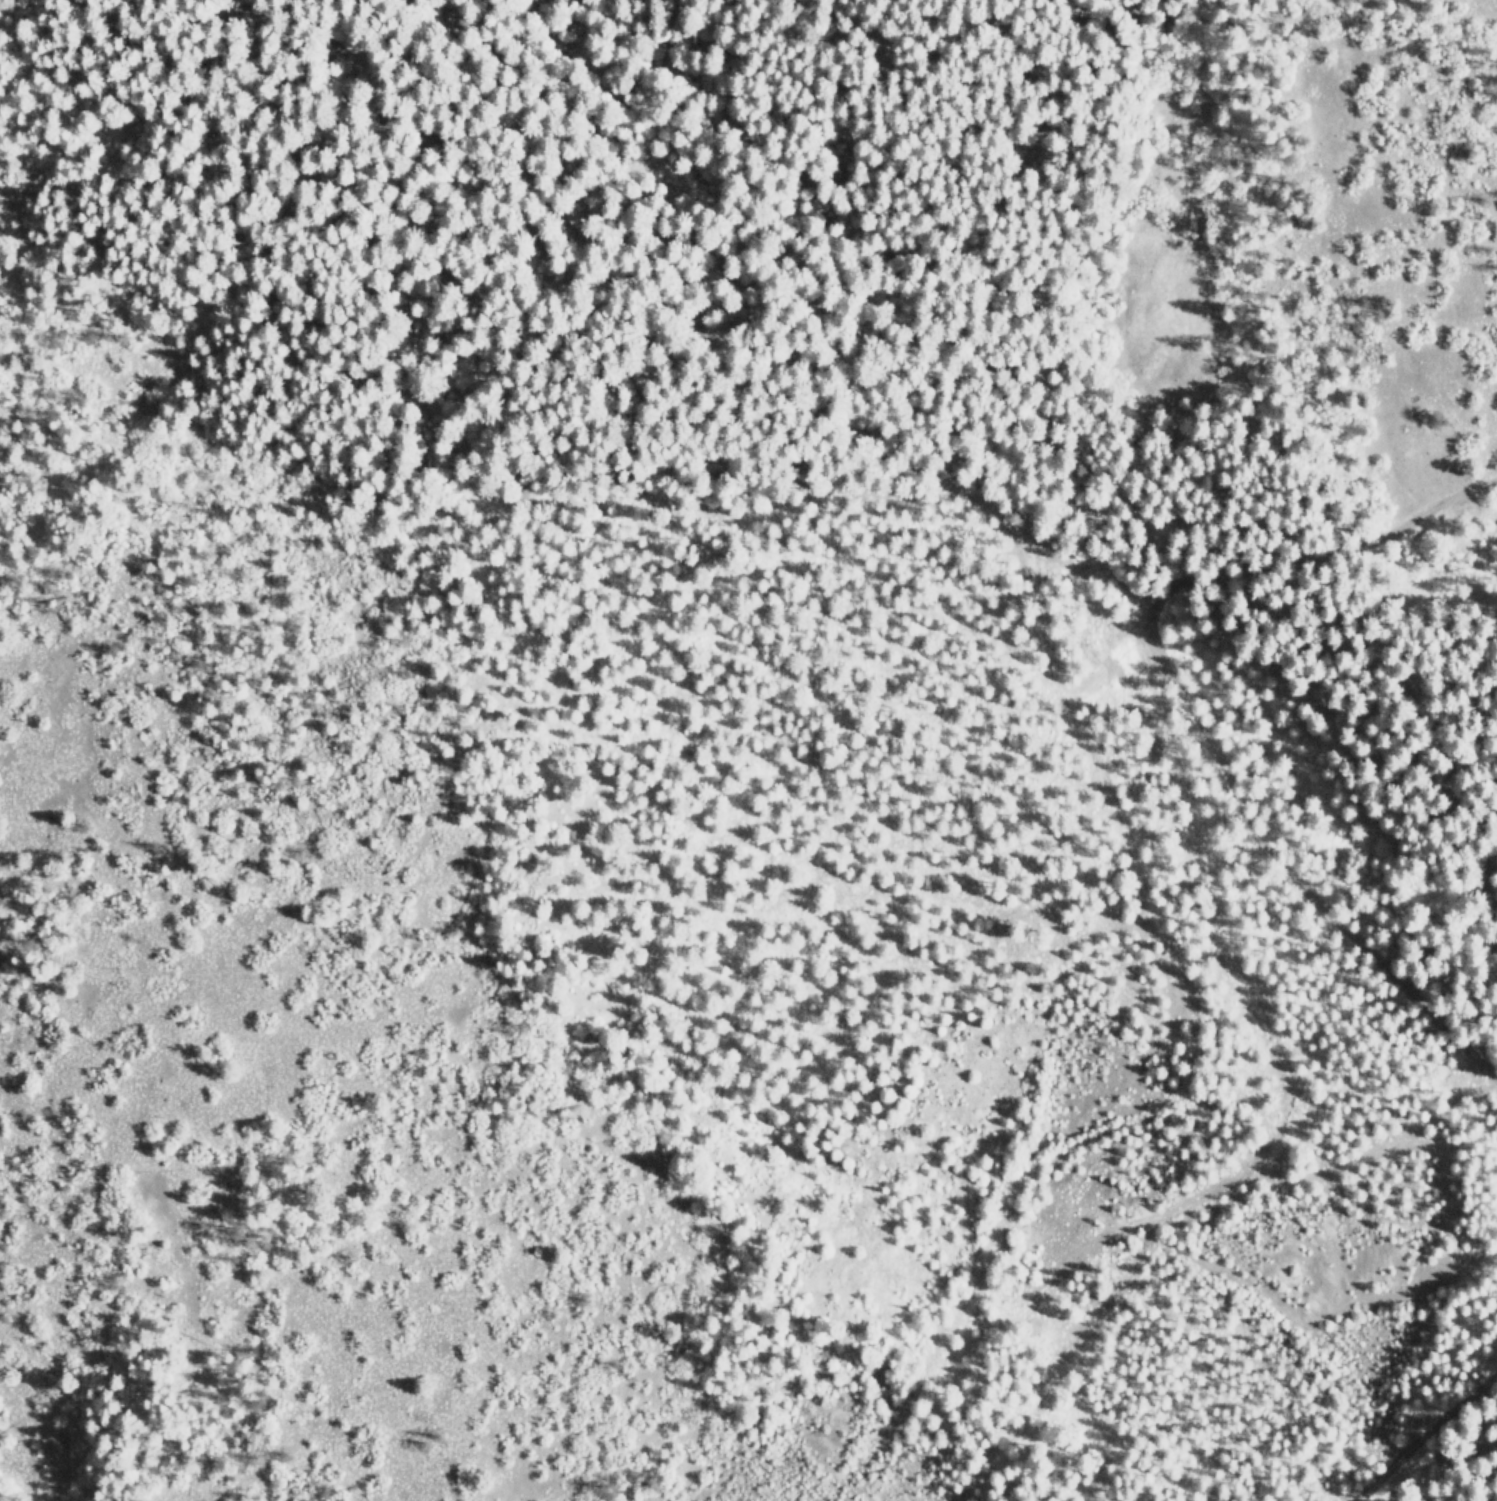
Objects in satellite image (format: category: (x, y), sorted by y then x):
road: (1200, 704)
road: (1426, 1437)

